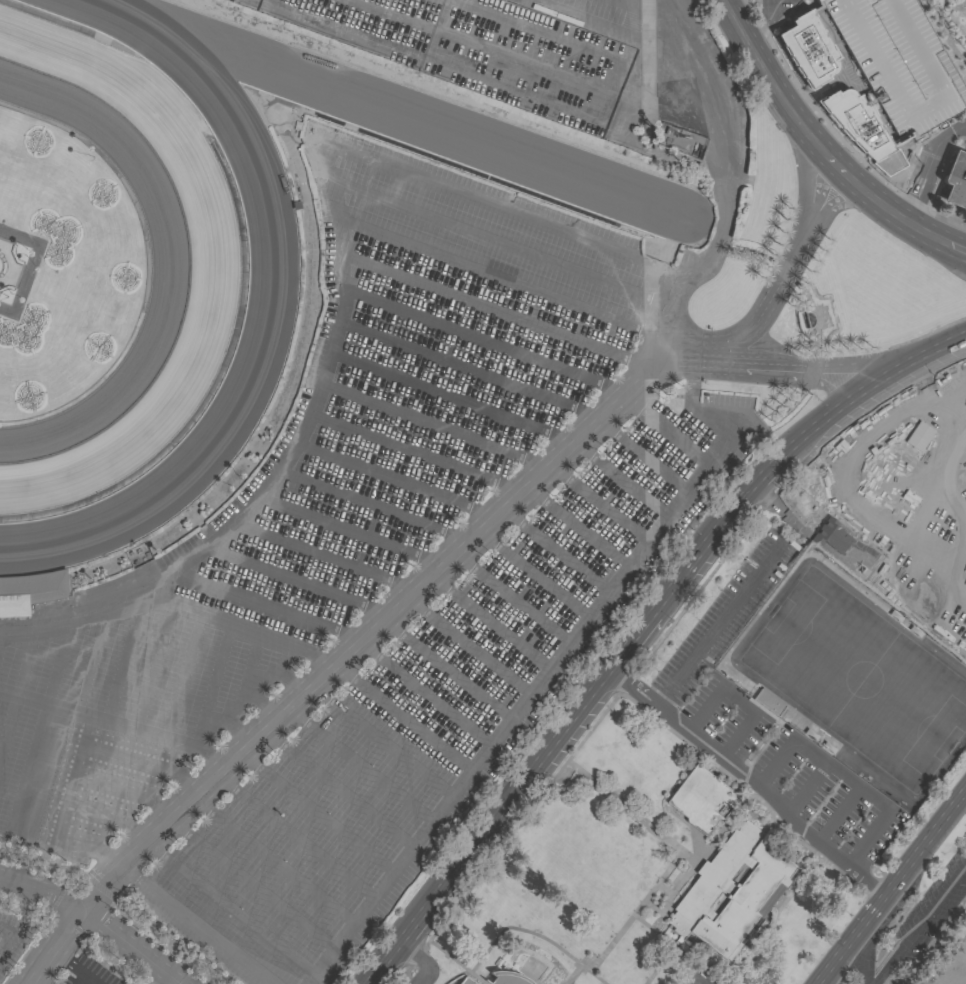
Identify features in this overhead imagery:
road: (628, 2)
road: (762, 19)
road: (582, 20)
road: (485, 48)
parking lot: (495, 49)
road: (639, 56)
building: (878, 73)
road: (965, 84)
road: (552, 107)
road: (965, 125)
road: (820, 147)
road: (926, 165)
building: (956, 181)
road: (498, 210)
road: (716, 241)
road: (497, 244)
road: (965, 250)
road: (965, 250)
track: (167, 259)
road: (29, 266)
road: (782, 273)
track: (275, 277)
road: (497, 278)
track: (214, 280)
road: (493, 312)
road: (484, 343)
road: (849, 364)
road: (468, 372)
road: (903, 374)
road: (868, 385)
road: (828, 389)
road: (934, 396)
road: (451, 400)
road: (922, 408)
road: (958, 409)
road: (433, 427)
road: (958, 427)
road: (415, 455)
road: (280, 469)
road: (773, 480)
road: (396, 482)
road: (373, 509)
road: (351, 533)
building: (832, 536)
road: (704, 559)
road: (299, 582)
building: (29, 595)
parking lot: (352, 598)
road: (272, 605)
road: (393, 614)
road: (721, 623)
road: (237, 628)
road: (631, 648)
road: (215, 656)
road: (553, 666)
park: (856, 677)
road: (199, 683)
road: (18, 691)
road: (423, 699)
road: (739, 701)
building: (769, 703)
road: (181, 711)
road: (404, 720)
road: (41, 727)
road: (163, 739)
road: (381, 744)
road: (79, 757)
road: (144, 767)
road: (360, 767)
road: (845, 777)
road: (748, 782)
road: (337, 792)
road: (129, 794)
building: (701, 799)
road: (316, 816)
road: (109, 825)
road: (489, 830)
road: (295, 841)
road: (925, 842)
road: (275, 862)
road: (252, 887)
building: (732, 891)
park: (945, 891)
road: (231, 911)
road: (95, 920)
road: (919, 923)
road: (197, 926)
road: (8, 937)
road: (849, 939)
road: (421, 959)
road: (861, 961)
road: (73, 967)
building: (507, 977)
road: (83, 980)
building: (466, 981)
road: (816, 983)

